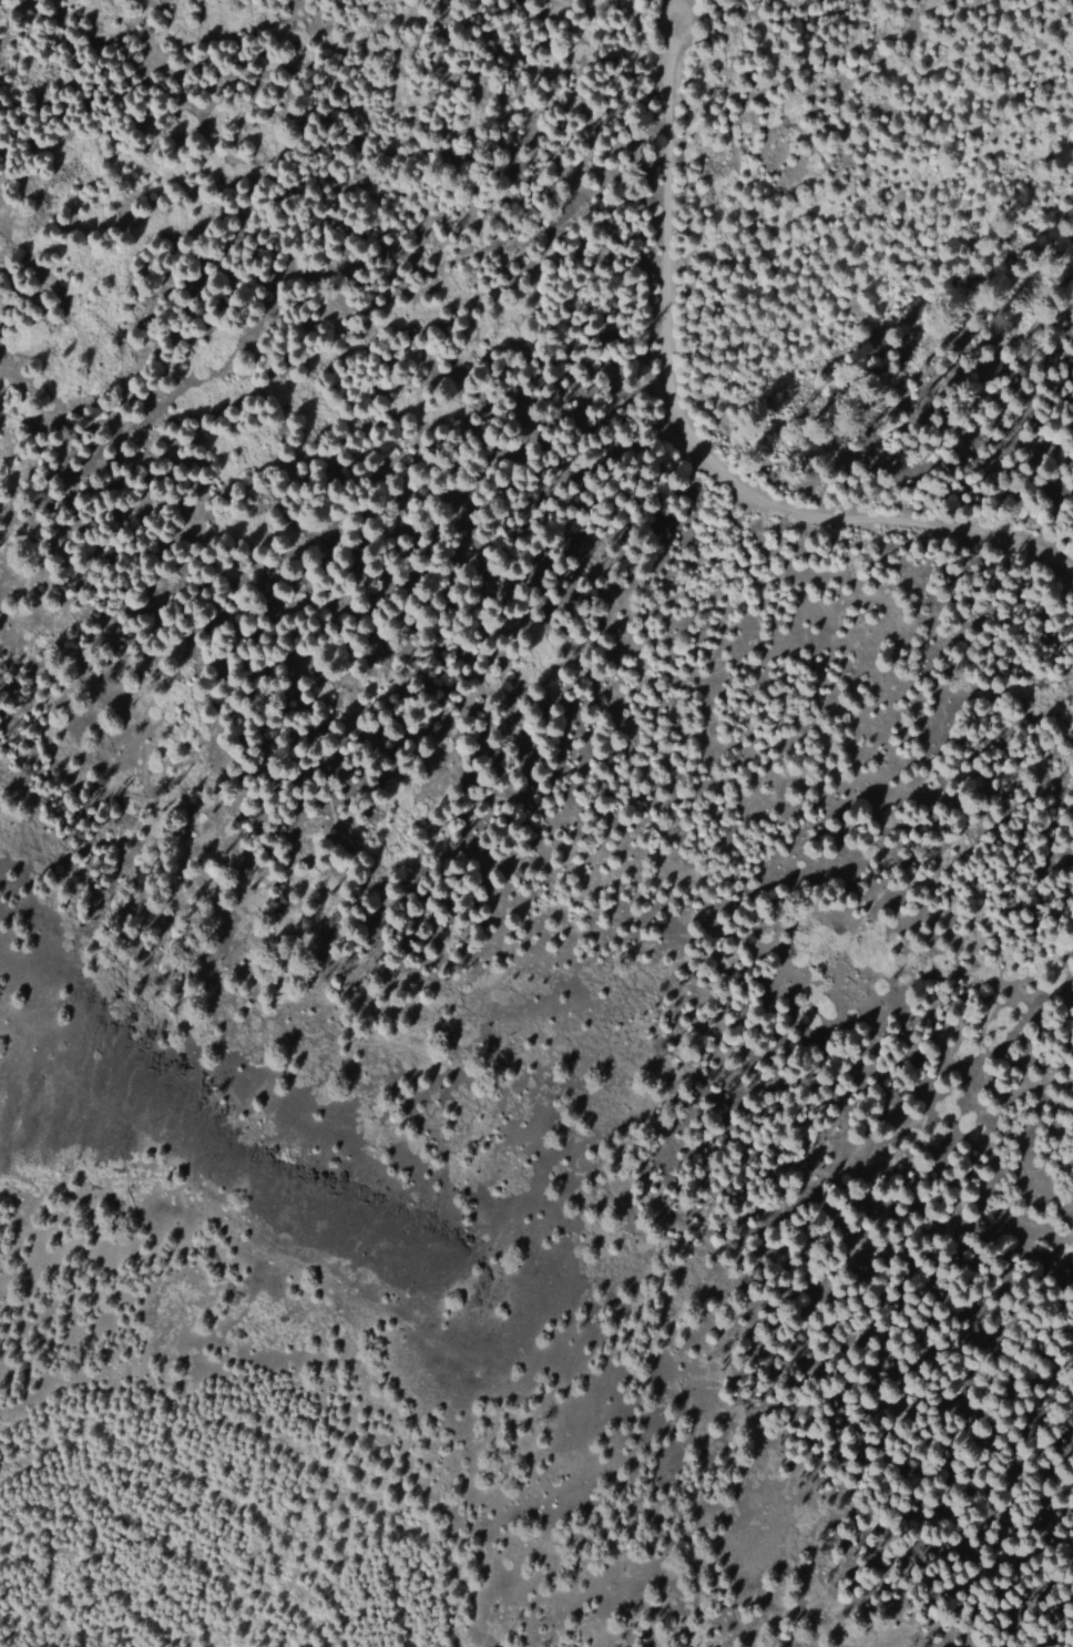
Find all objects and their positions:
road: (670, 44)
road: (799, 327)
road: (683, 430)

